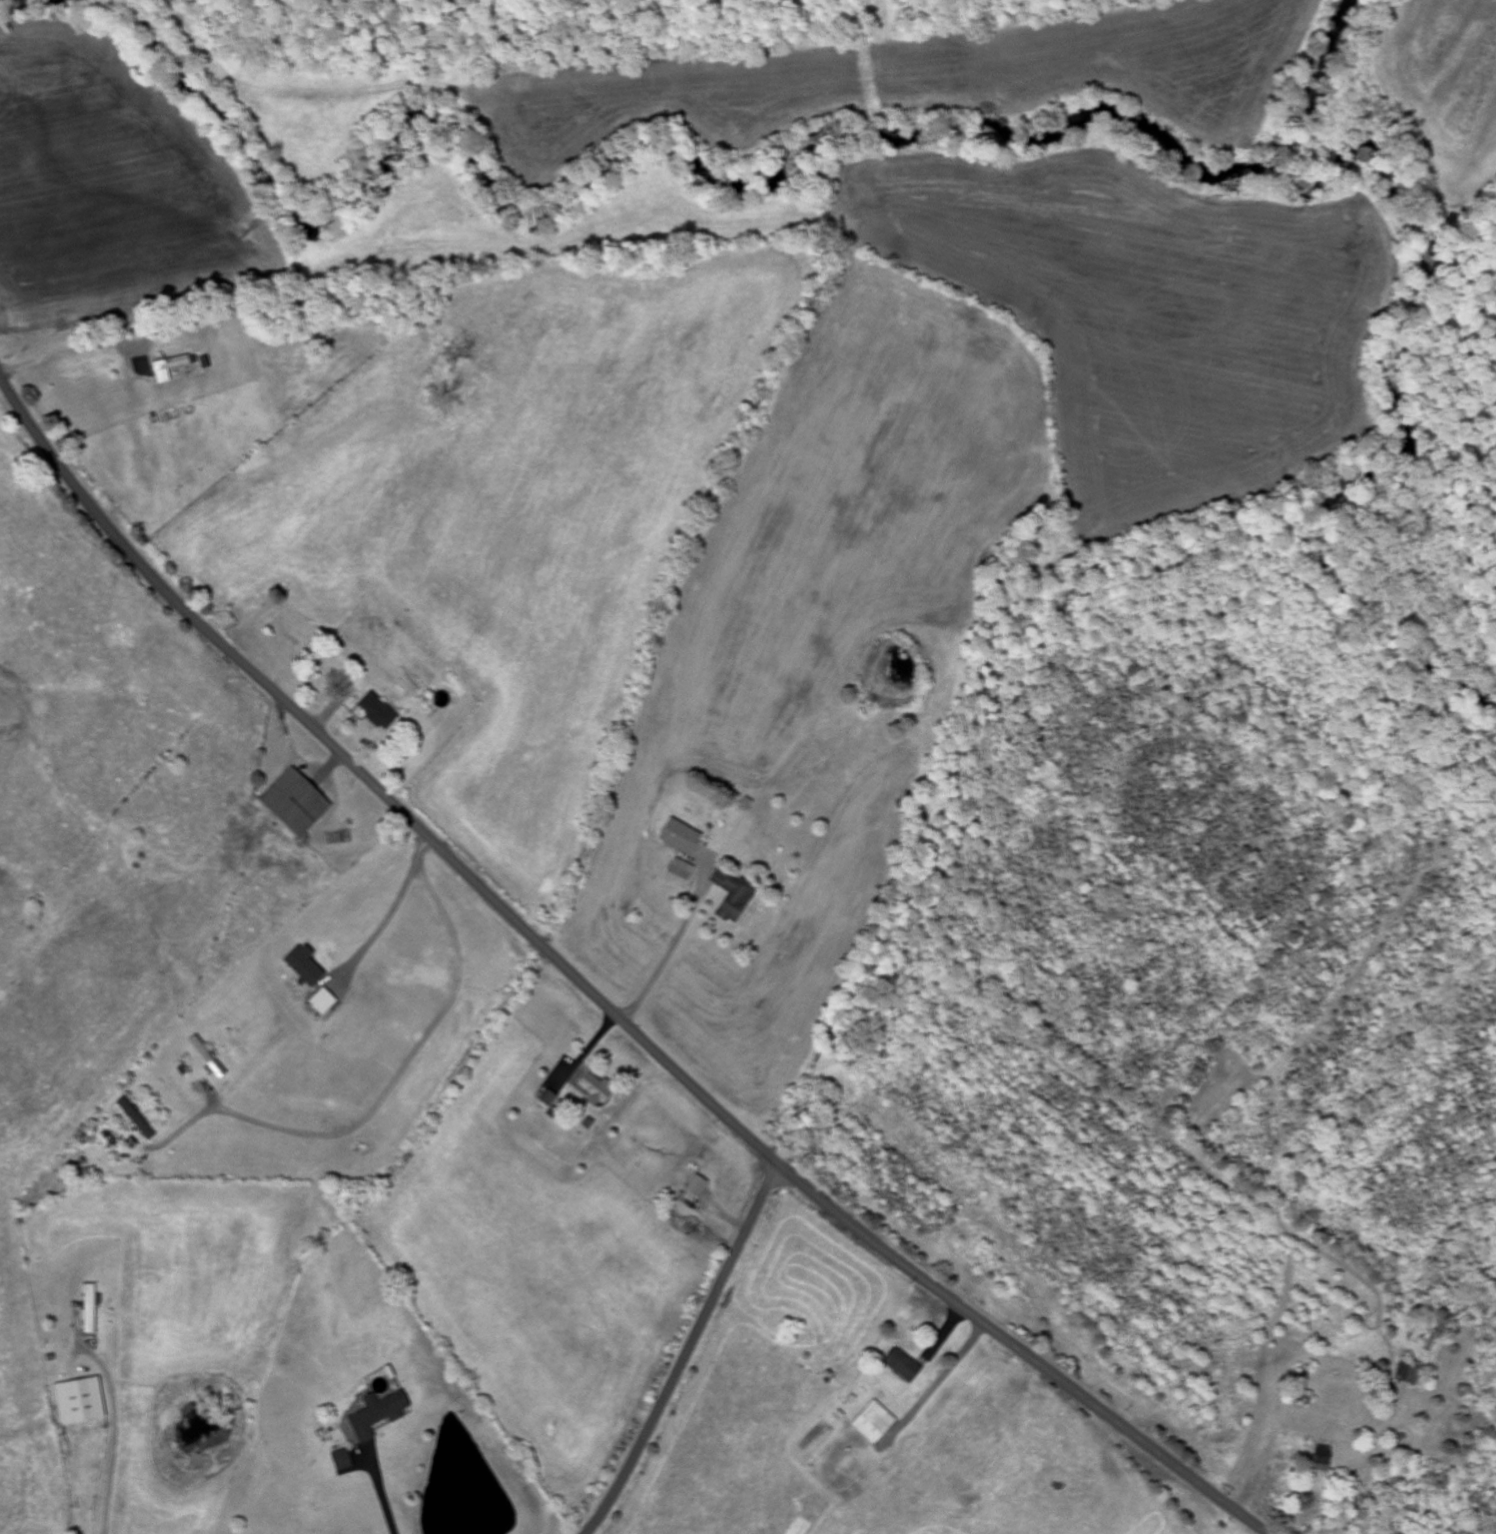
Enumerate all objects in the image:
building: (169, 369)
building: (376, 713)
building: (293, 805)
building: (679, 838)
building: (679, 875)
building: (729, 898)
building: (303, 966)
road: (593, 997)
building: (321, 1003)
building: (207, 1060)
building: (593, 1091)
building: (134, 1119)
building: (695, 1187)
road: (686, 1353)
building: (899, 1366)
building: (1407, 1374)
building: (79, 1402)
building: (376, 1415)
building: (872, 1424)
building: (1318, 1457)
building: (339, 1461)

